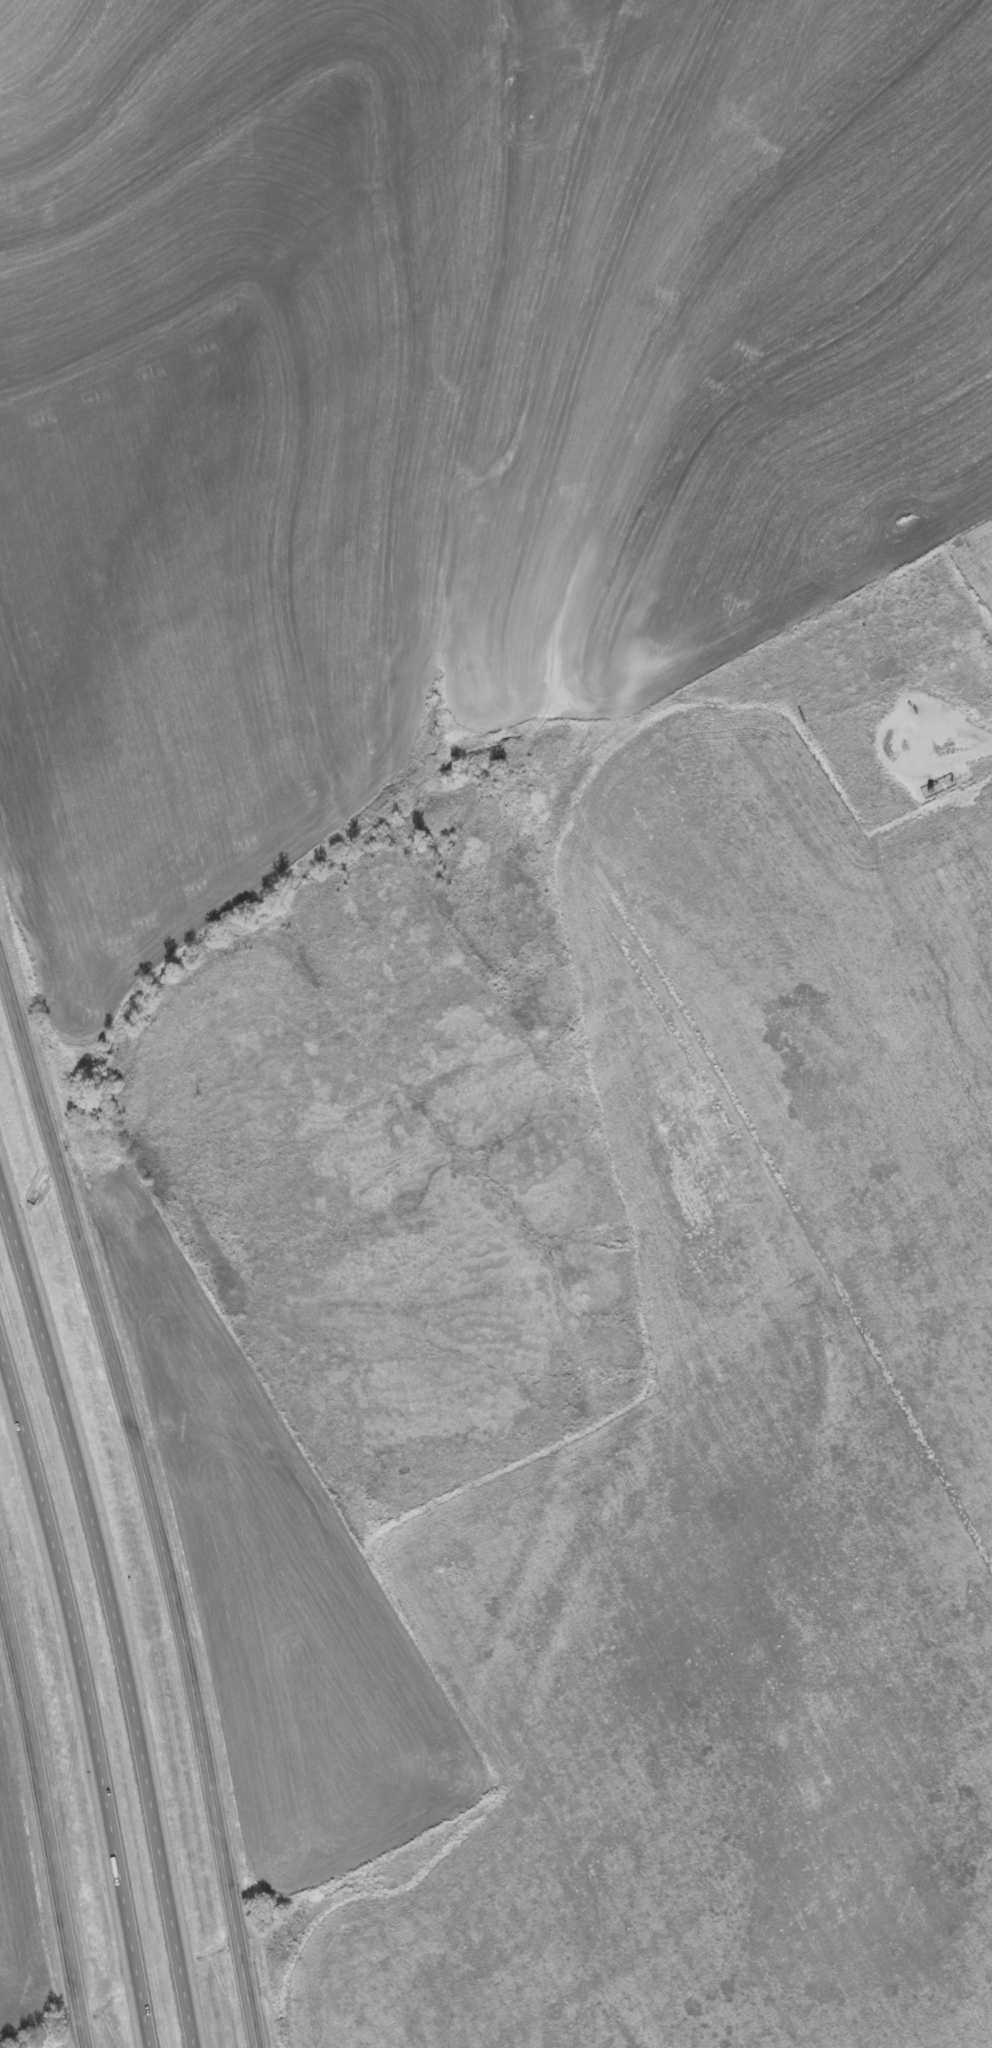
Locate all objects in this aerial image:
road: (721, 80)
road: (781, 226)
road: (554, 698)
road: (155, 1495)
road: (112, 1610)
road: (85, 1692)
road: (47, 1813)

